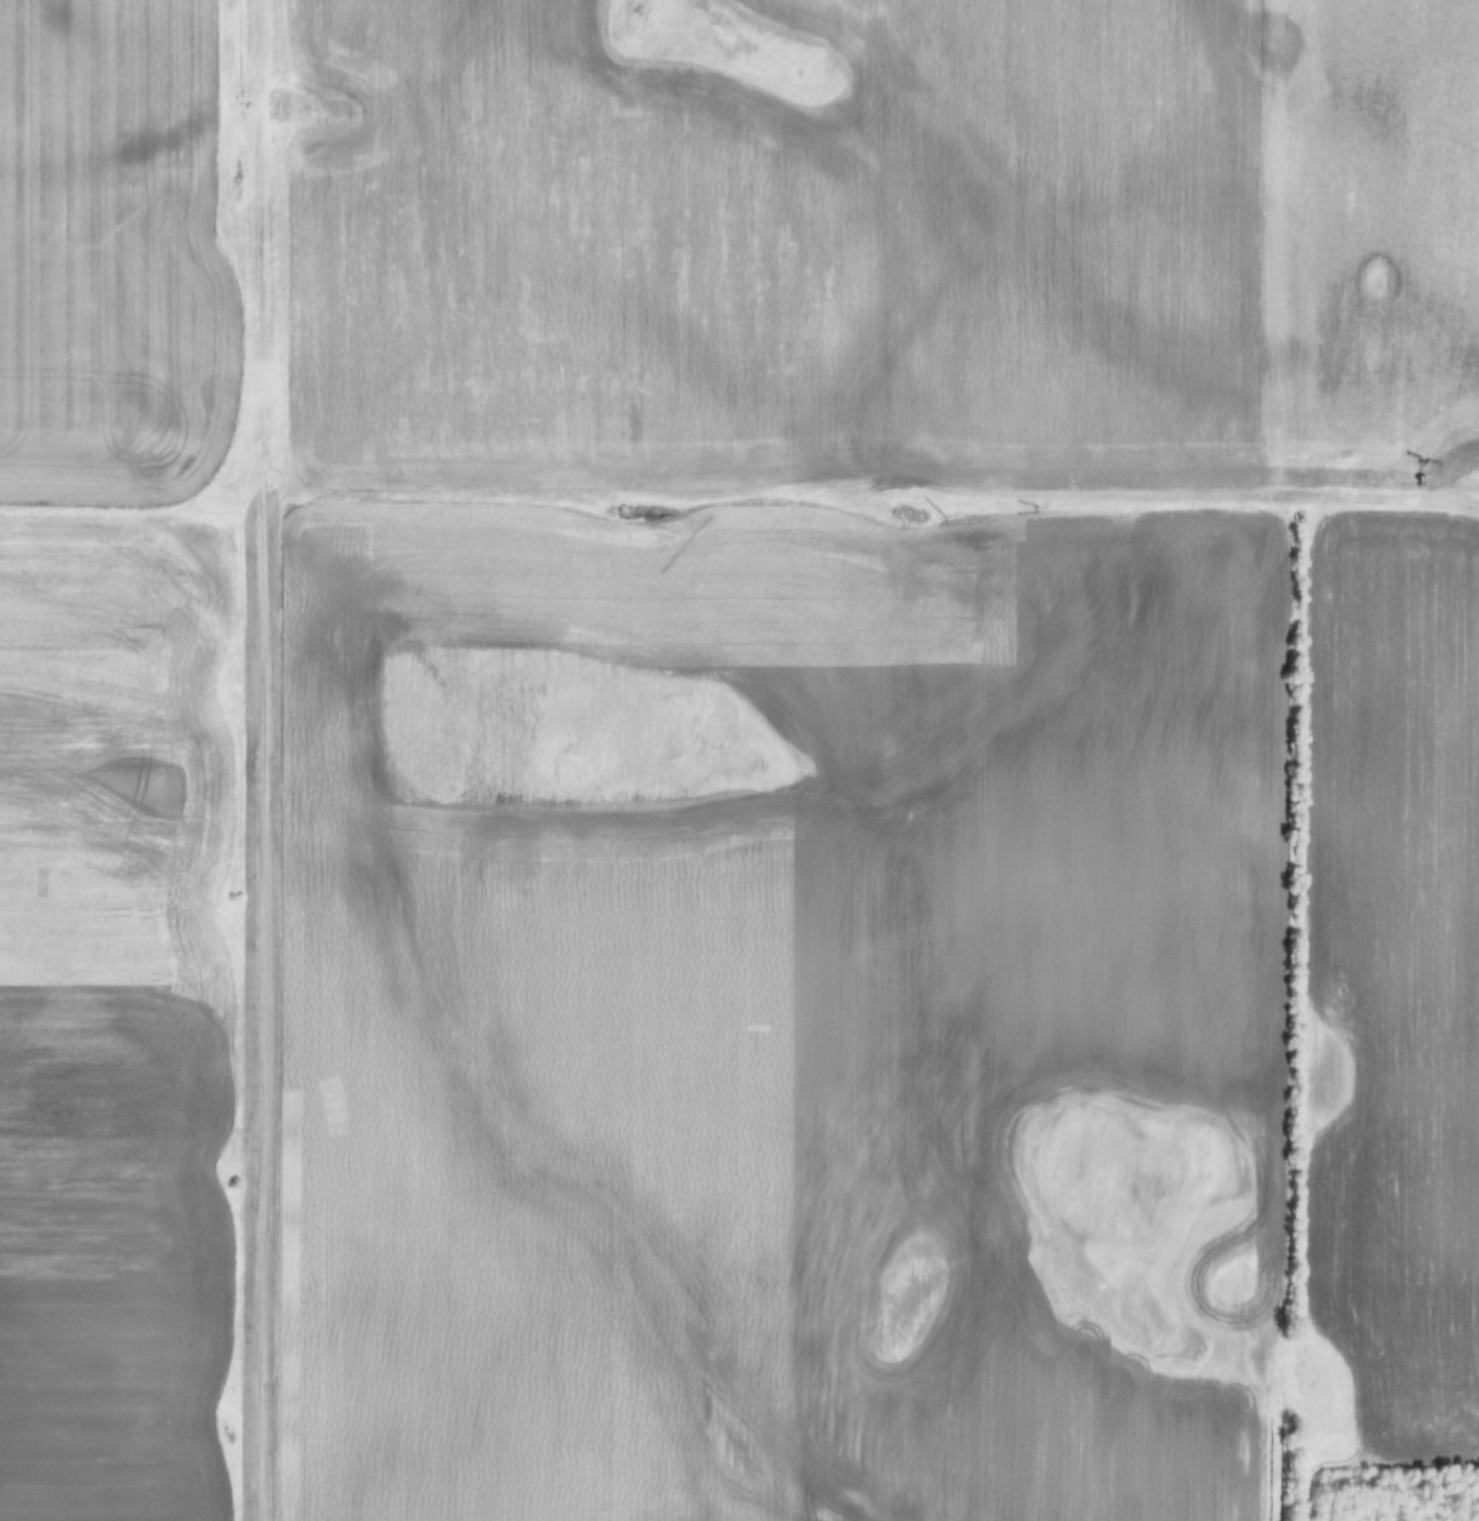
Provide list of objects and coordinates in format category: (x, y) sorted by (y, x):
road: (268, 760)

